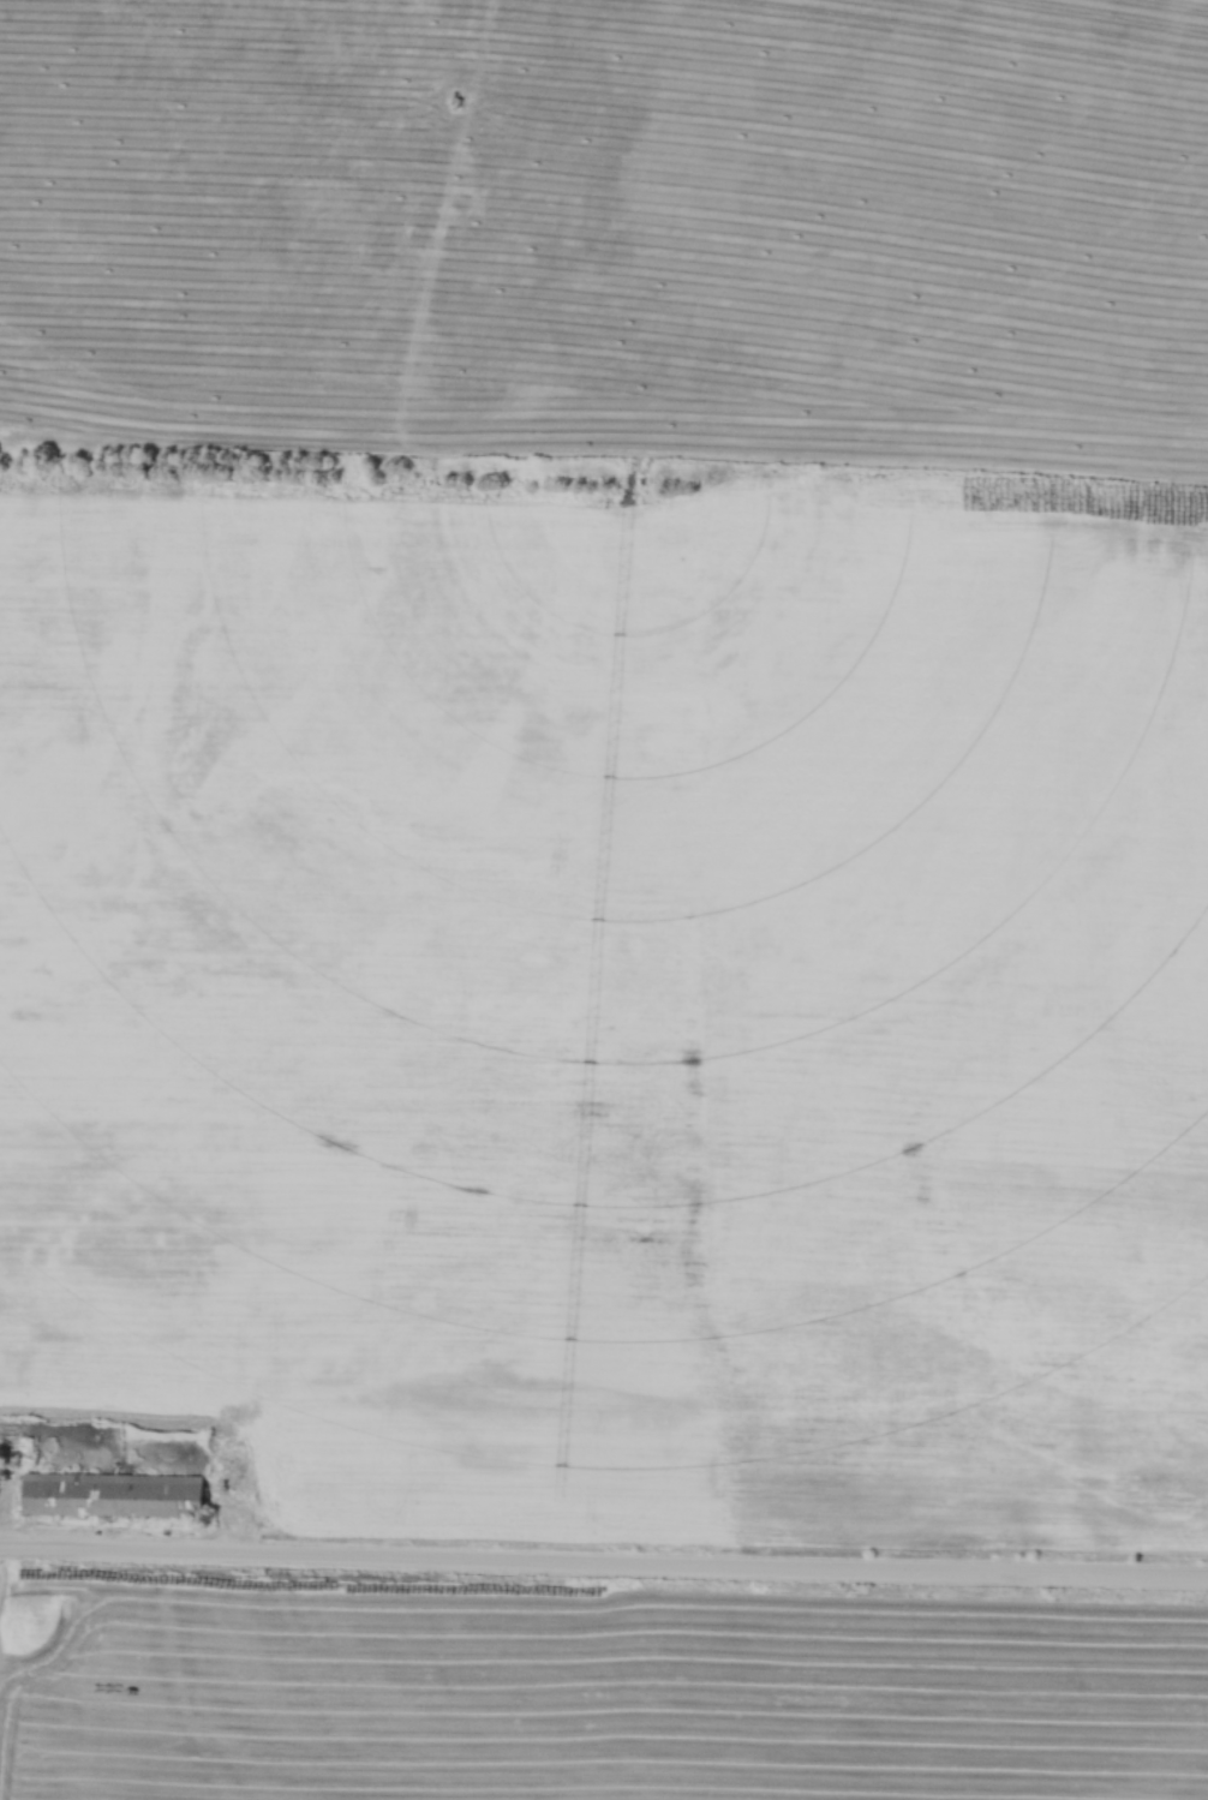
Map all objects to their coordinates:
building: (118, 1496)
road: (604, 1566)

